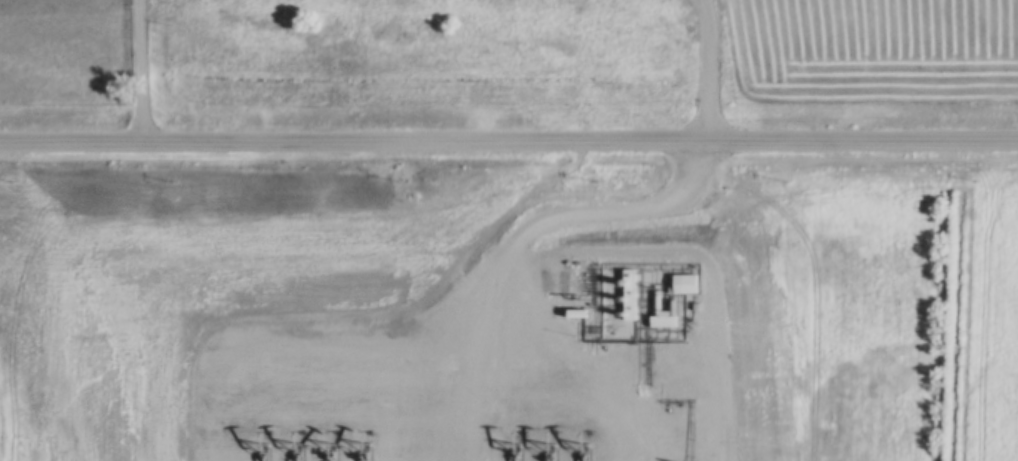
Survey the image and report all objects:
road: (141, 69)
road: (508, 140)

